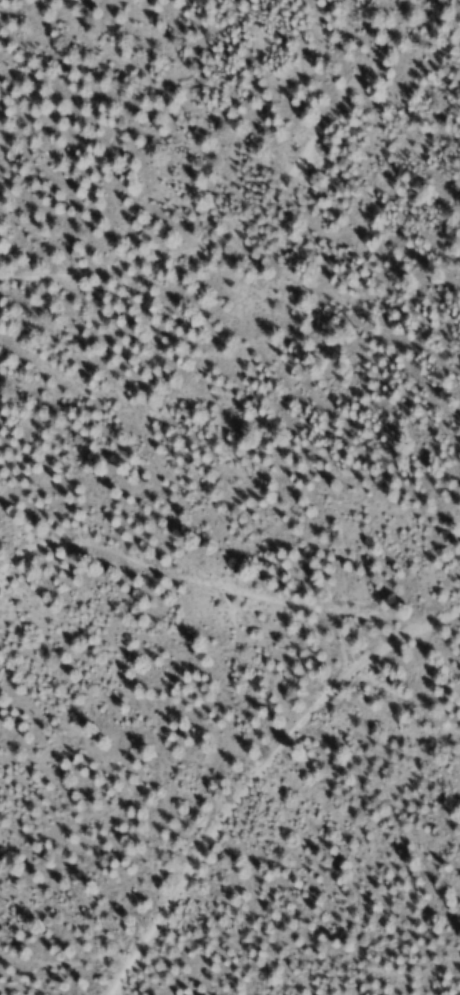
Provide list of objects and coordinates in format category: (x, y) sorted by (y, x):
road: (275, 266)
road: (217, 548)
road: (458, 601)
road: (385, 637)
road: (271, 766)
road: (88, 963)

